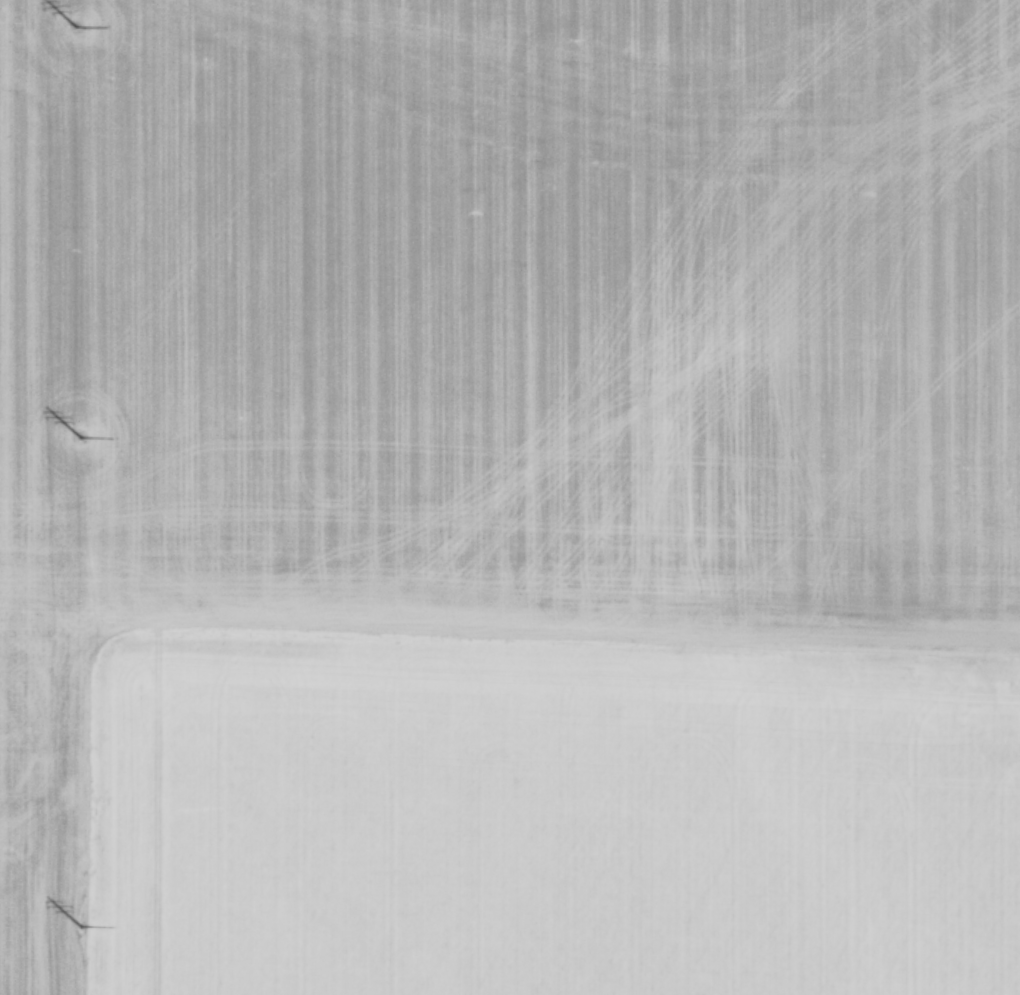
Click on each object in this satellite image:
power tower: (76, 37)
power tower: (73, 444)
power tower: (75, 931)

